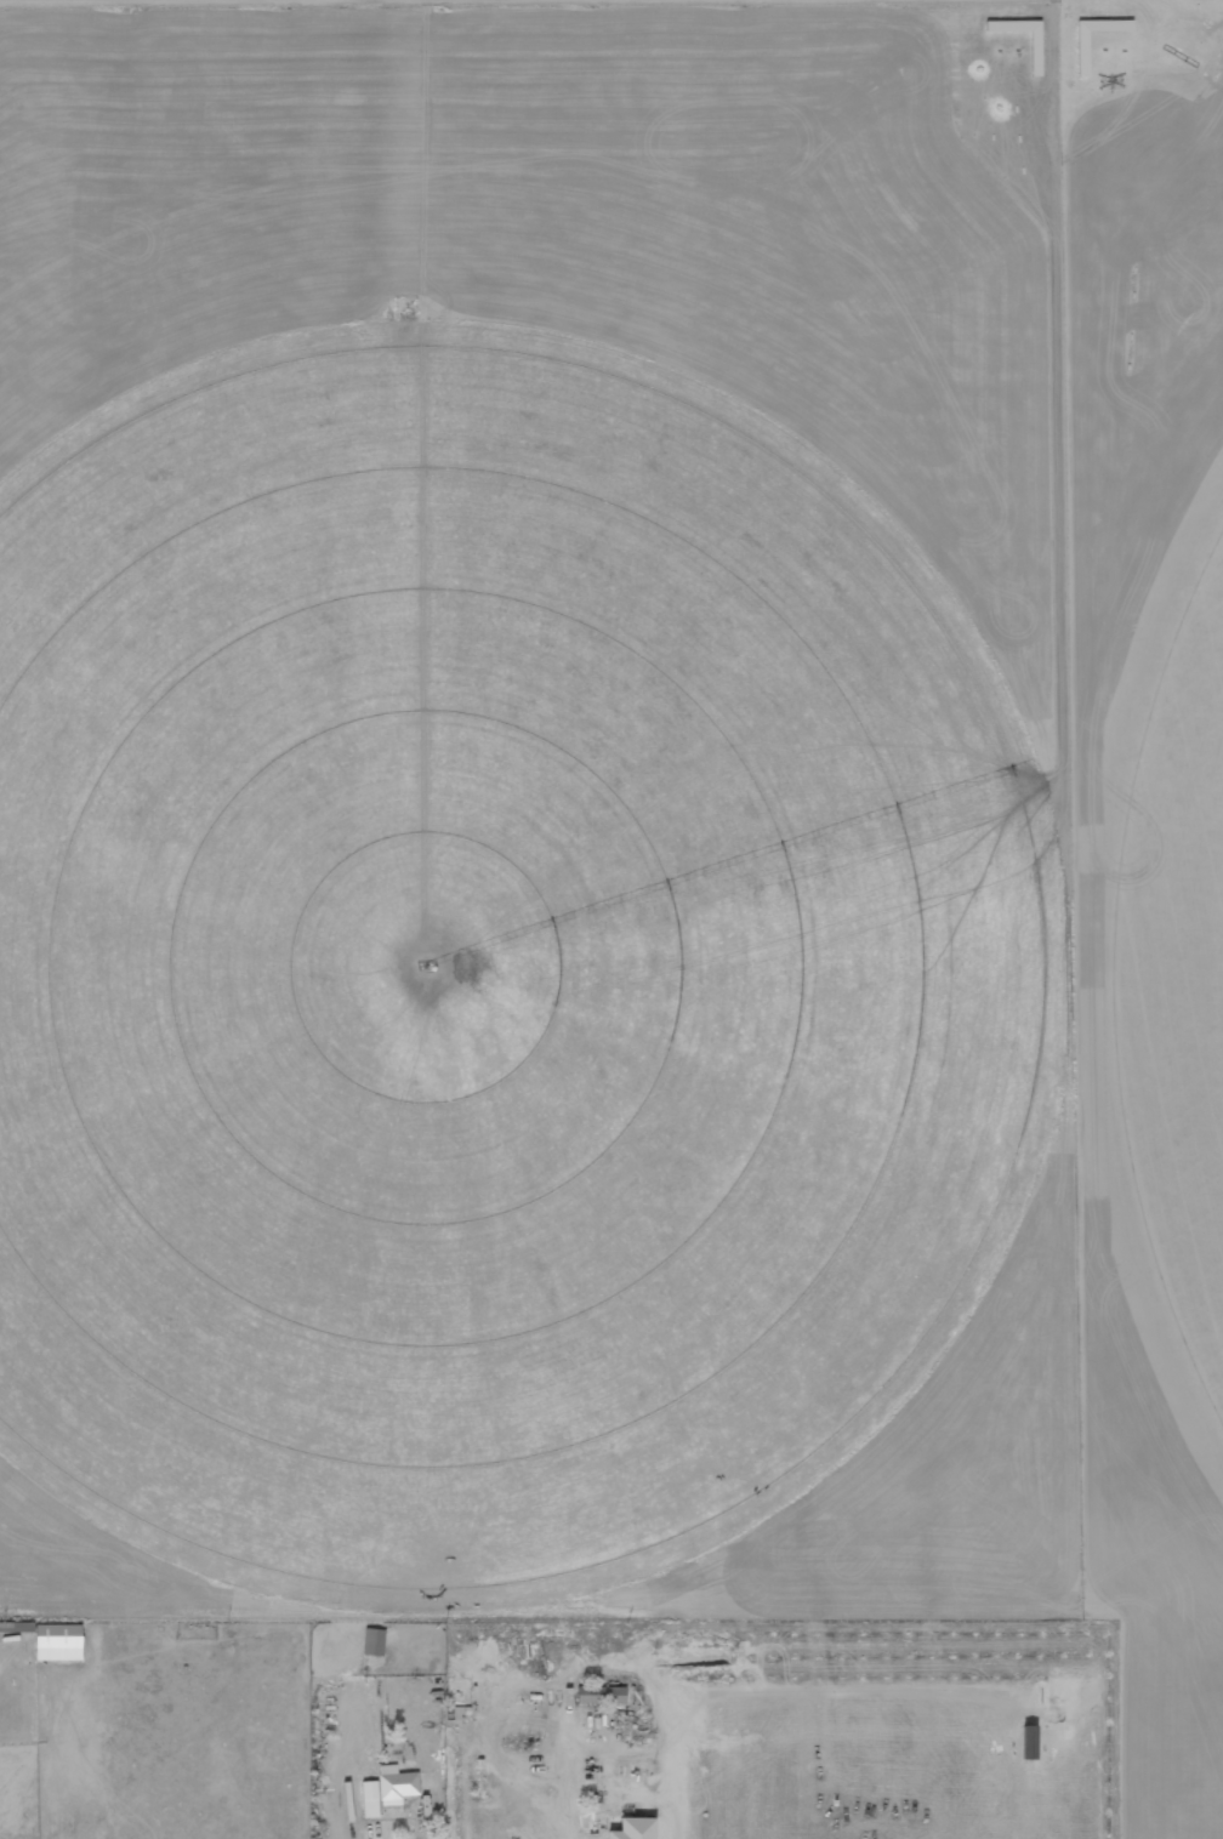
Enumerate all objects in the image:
crop: (485, 966)
crop: (1176, 969)
building: (375, 1641)
building: (61, 1647)
building: (604, 1695)
building: (398, 1784)
building: (371, 1799)
building: (637, 1828)

